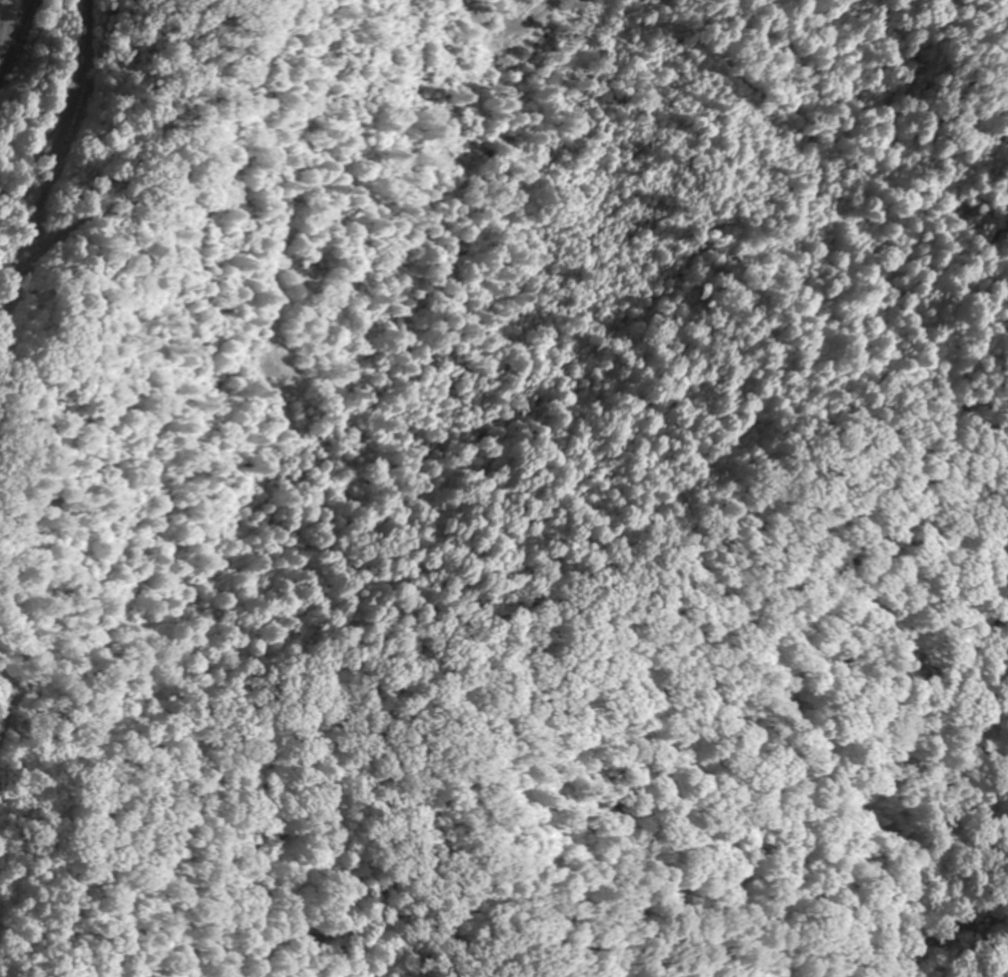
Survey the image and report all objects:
road: (13, 31)
road: (245, 81)

